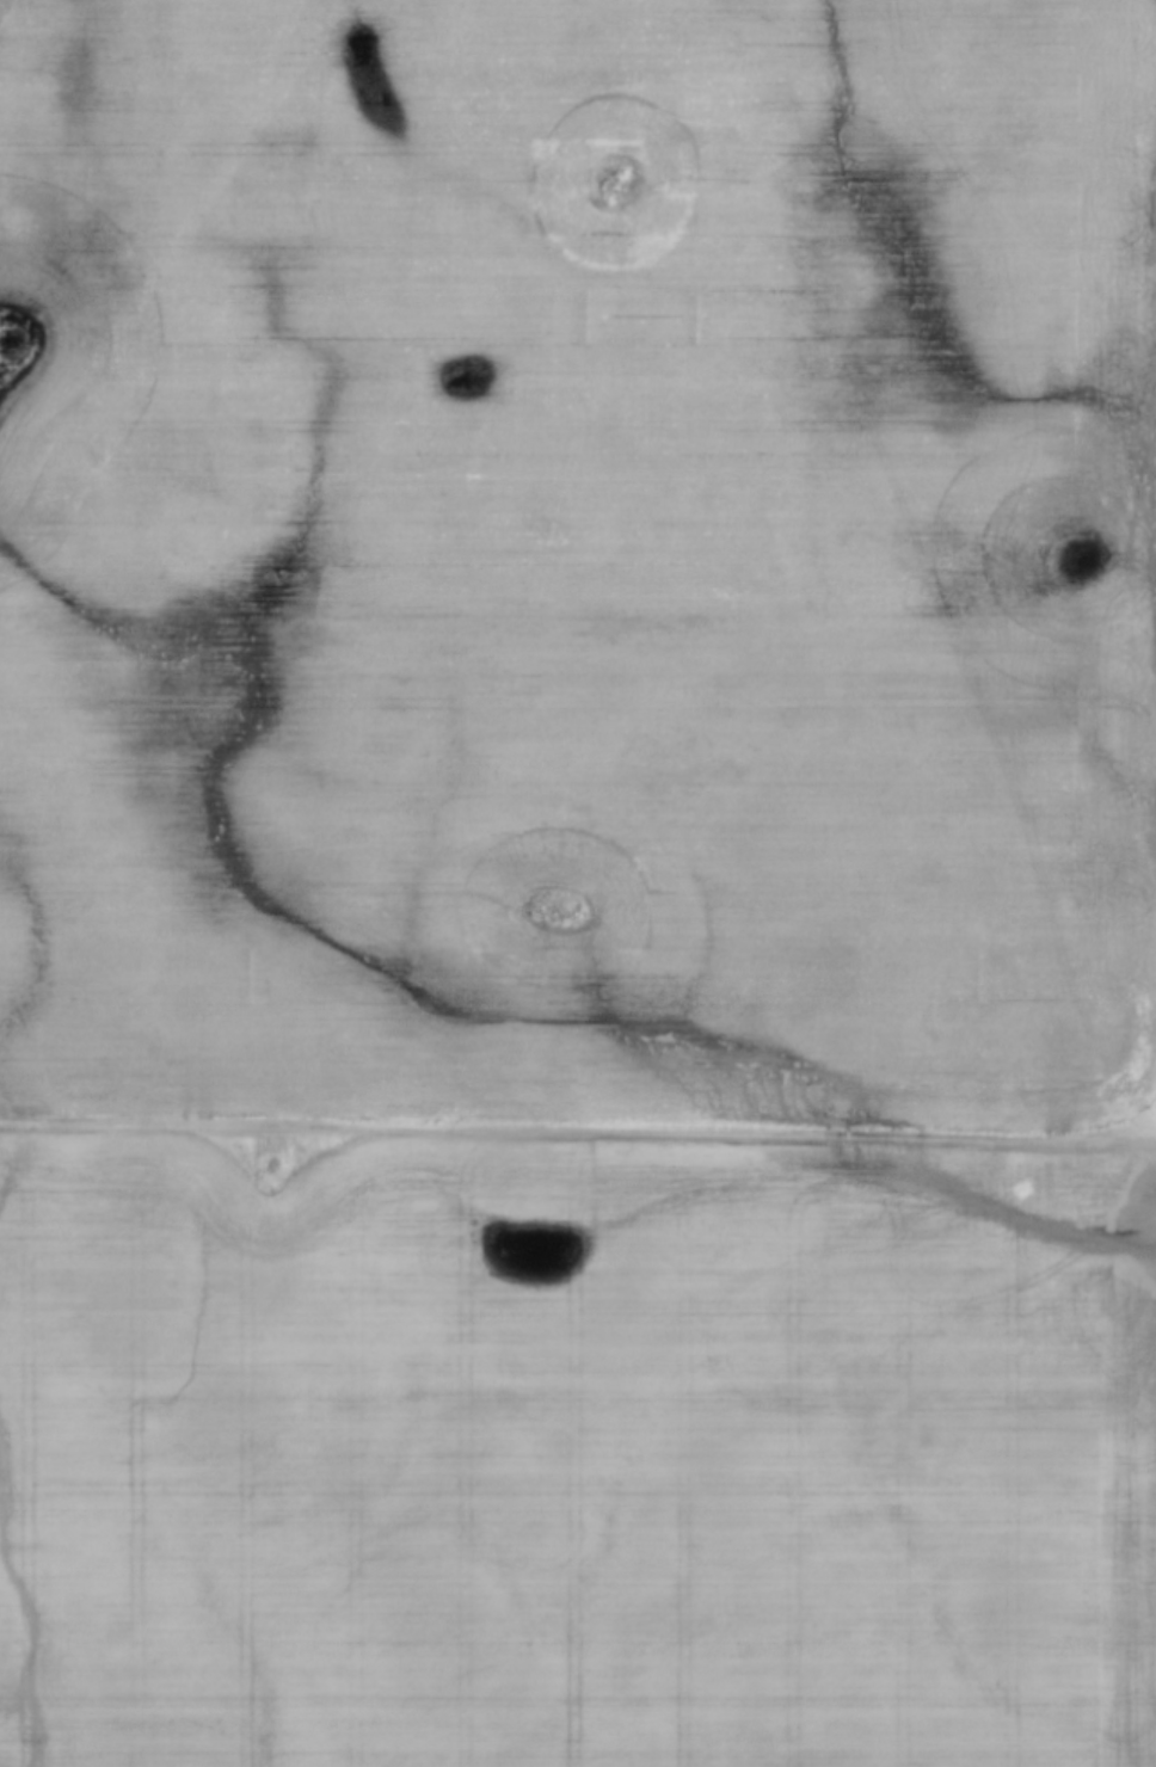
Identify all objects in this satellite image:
road: (578, 1134)

